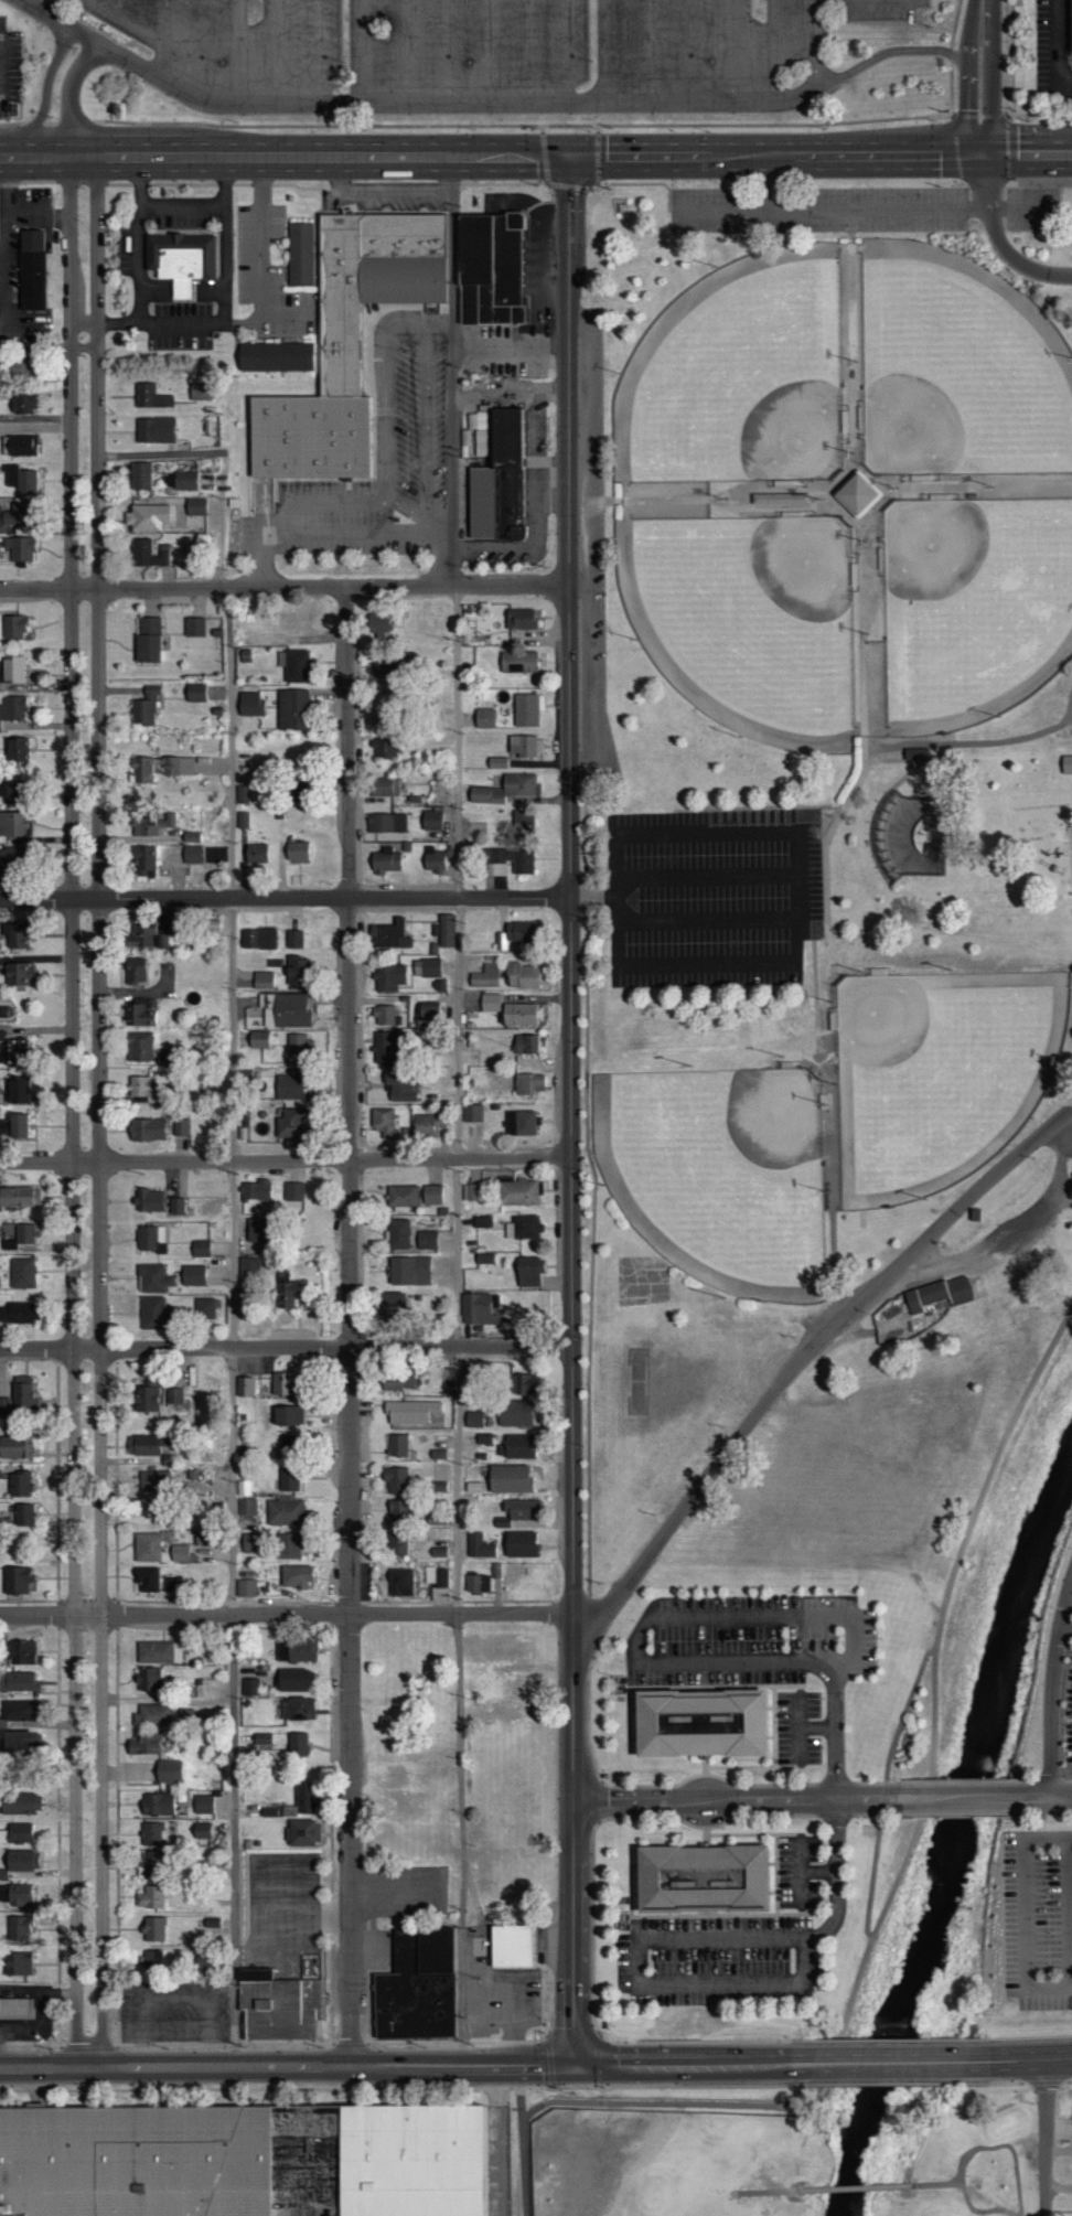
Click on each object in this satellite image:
road: (862, 0)
road: (120, 11)
road: (66, 21)
road: (161, 22)
road: (132, 29)
building: (1071, 30)
parking lot: (503, 42)
road: (815, 43)
road: (200, 45)
road: (1057, 46)
road: (238, 51)
road: (279, 51)
road: (320, 51)
road: (368, 51)
road: (409, 51)
road: (449, 51)
road: (490, 51)
road: (530, 51)
road: (568, 51)
road: (605, 51)
road: (651, 51)
road: (689, 51)
road: (731, 51)
road: (771, 51)
parking lot: (1053, 56)
road: (2, 66)
parking lot: (11, 67)
road: (985, 77)
road: (45, 94)
road: (71, 95)
road: (544, 101)
traffic signals: (983, 156)
road: (1027, 156)
road: (491, 157)
traffic signals: (570, 157)
road: (1028, 181)
road: (775, 182)
road: (380, 191)
road: (183, 205)
road: (832, 207)
parking lot: (865, 210)
road: (998, 238)
road: (227, 239)
road: (139, 240)
road: (9, 251)
building: (303, 251)
building: (185, 257)
building: (494, 267)
building: (35, 268)
road: (442, 321)
road: (249, 322)
building: (351, 342)
road: (49, 345)
building: (280, 354)
building: (1, 372)
park: (955, 376)
park: (746, 384)
road: (386, 388)
building: (150, 398)
building: (22, 404)
road: (429, 424)
building: (154, 431)
building: (21, 446)
building: (140, 477)
building: (20, 480)
building: (185, 481)
building: (503, 482)
building: (855, 495)
building: (780, 500)
road: (290, 504)
building: (195, 507)
road: (406, 512)
building: (11, 516)
building: (149, 518)
road: (347, 528)
road: (440, 534)
building: (20, 552)
building: (147, 555)
road: (285, 588)
park: (972, 600)
park: (757, 612)
building: (519, 620)
building: (378, 624)
building: (14, 628)
building: (194, 628)
building: (147, 642)
building: (518, 663)
building: (296, 666)
building: (11, 672)
building: (194, 694)
building: (249, 705)
building: (144, 708)
building: (13, 709)
building: (528, 709)
building: (292, 710)
building: (484, 719)
building: (526, 746)
building: (17, 752)
building: (915, 754)
building: (497, 763)
park: (810, 763)
building: (1065, 766)
building: (159, 769)
building: (384, 788)
building: (506, 790)
building: (11, 793)
building: (431, 821)
building: (523, 822)
building: (151, 824)
building: (386, 824)
building: (12, 825)
road: (231, 837)
building: (192, 838)
building: (297, 853)
building: (256, 854)
building: (192, 855)
building: (512, 859)
building: (433, 860)
building: (13, 861)
building: (144, 861)
building: (385, 861)
road: (286, 899)
building: (210, 928)
building: (447, 930)
building: (519, 931)
building: (12, 934)
building: (143, 935)
building: (389, 935)
building: (257, 938)
building: (294, 939)
building: (431, 967)
building: (297, 970)
building: (133, 971)
building: (19, 975)
building: (485, 976)
building: (524, 976)
building: (390, 977)
building: (262, 979)
building: (490, 1003)
building: (283, 1009)
building: (428, 1011)
building: (522, 1014)
building: (139, 1015)
building: (386, 1015)
building: (258, 1039)
building: (298, 1043)
building: (525, 1043)
building: (138, 1046)
building: (386, 1047)
building: (14, 1048)
park: (940, 1072)
building: (529, 1083)
building: (401, 1085)
building: (140, 1086)
building: (289, 1086)
building: (15, 1091)
road: (572, 1109)
road: (73, 1112)
road: (100, 1112)
road: (459, 1112)
building: (473, 1113)
building: (243, 1122)
building: (291, 1122)
building: (384, 1123)
building: (521, 1123)
building: (428, 1125)
building: (15, 1126)
building: (180, 1127)
building: (146, 1130)
road: (287, 1161)
park: (719, 1171)
building: (257, 1190)
building: (471, 1191)
building: (294, 1192)
building: (518, 1192)
building: (432, 1195)
building: (401, 1196)
building: (20, 1198)
building: (148, 1200)
building: (176, 1206)
building: (482, 1221)
building: (523, 1227)
building: (255, 1230)
building: (9, 1231)
building: (398, 1234)
building: (21, 1237)
building: (150, 1239)
building: (427, 1240)
building: (201, 1249)
building: (484, 1259)
building: (249, 1266)
building: (409, 1271)
building: (528, 1271)
building: (21, 1273)
building: (193, 1275)
building: (152, 1277)
building: (285, 1289)
building: (937, 1294)
building: (399, 1303)
building: (204, 1308)
building: (476, 1309)
building: (15, 1313)
building: (152, 1313)
road: (350, 1326)
road: (286, 1347)
road: (807, 1352)
building: (449, 1377)
building: (400, 1381)
building: (282, 1383)
building: (522, 1384)
building: (245, 1387)
building: (173, 1396)
building: (19, 1400)
building: (146, 1400)
building: (412, 1412)
building: (514, 1413)
building: (287, 1415)
building: (473, 1419)
building: (482, 1438)
building: (146, 1445)
building: (288, 1445)
building: (397, 1445)
building: (518, 1446)
building: (14, 1447)
building: (438, 1454)
road: (989, 1473)
building: (154, 1476)
building: (441, 1477)
building: (289, 1479)
building: (396, 1479)
building: (508, 1479)
building: (19, 1485)
building: (244, 1487)
building: (247, 1507)
building: (397, 1511)
building: (516, 1511)
building: (285, 1512)
building: (22, 1516)
building: (250, 1543)
building: (397, 1543)
building: (521, 1544)
building: (480, 1545)
building: (288, 1546)
building: (147, 1548)
building: (438, 1552)
building: (179, 1553)
building: (495, 1571)
building: (436, 1576)
building: (296, 1577)
building: (147, 1580)
building: (17, 1581)
building: (399, 1582)
building: (478, 1583)
building: (171, 1584)
building: (246, 1588)
road: (287, 1606)
road: (287, 1614)
road: (1066, 1630)
building: (300, 1650)
parking lot: (760, 1650)
building: (18, 1652)
building: (159, 1652)
road: (646, 1669)
building: (206, 1671)
building: (150, 1680)
building: (293, 1681)
building: (18, 1683)
building: (249, 1685)
road: (1053, 1694)
road: (232, 1706)
building: (298, 1710)
building: (18, 1711)
building: (151, 1715)
building: (186, 1717)
building: (708, 1721)
road: (797, 1724)
road: (815, 1726)
parking lot: (1069, 1733)
road: (907, 1739)
building: (19, 1744)
building: (143, 1744)
building: (261, 1744)
building: (299, 1745)
building: (168, 1771)
road: (885, 1787)
road: (948, 1798)
road: (1049, 1798)
building: (303, 1799)
road: (722, 1800)
building: (19, 1803)
building: (157, 1805)
building: (203, 1805)
building: (268, 1812)
building: (202, 1831)
building: (302, 1832)
building: (18, 1833)
building: (151, 1834)
river: (952, 1835)
road: (1048, 1839)
building: (19, 1862)
building: (148, 1865)
road: (815, 1871)
road: (796, 1872)
building: (711, 1878)
building: (17, 1895)
building: (150, 1897)
road: (1069, 1914)
parking lot: (1038, 1919)
building: (17, 1929)
building: (152, 1929)
road: (1026, 1937)
road: (675, 1939)
building: (508, 1947)
parking lot: (733, 1948)
building: (151, 1959)
building: (18, 1965)
building: (416, 1988)
building: (276, 2008)
building: (13, 2009)
road: (846, 2020)
road: (1031, 2062)
traffic signals: (575, 2063)
road: (892, 2063)
road: (397, 2065)
road: (1047, 2138)
road: (502, 2139)
road: (985, 2148)
building: (249, 2159)
park: (801, 2160)
road: (525, 2167)
road: (1059, 2186)
road: (855, 2187)
road: (767, 2191)
road: (986, 2205)
road: (580, 2210)

